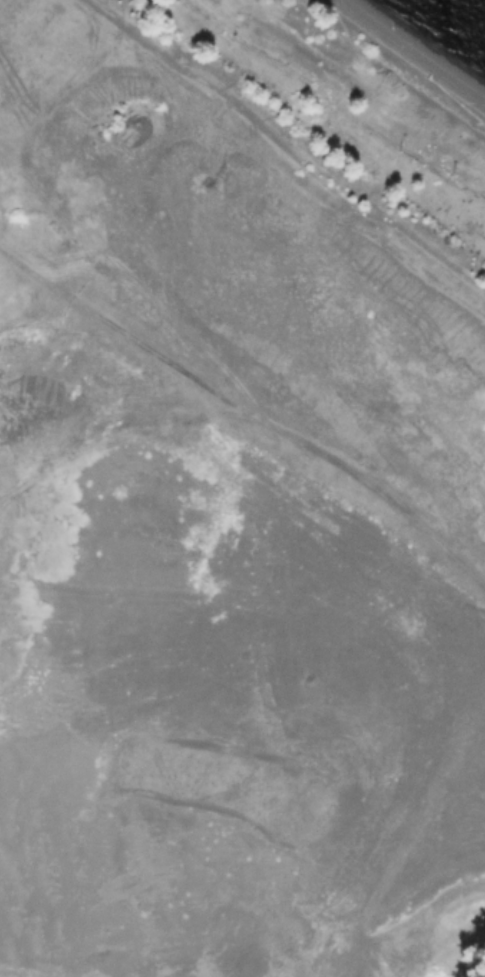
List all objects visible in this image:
road: (35, 274)
road: (285, 433)

